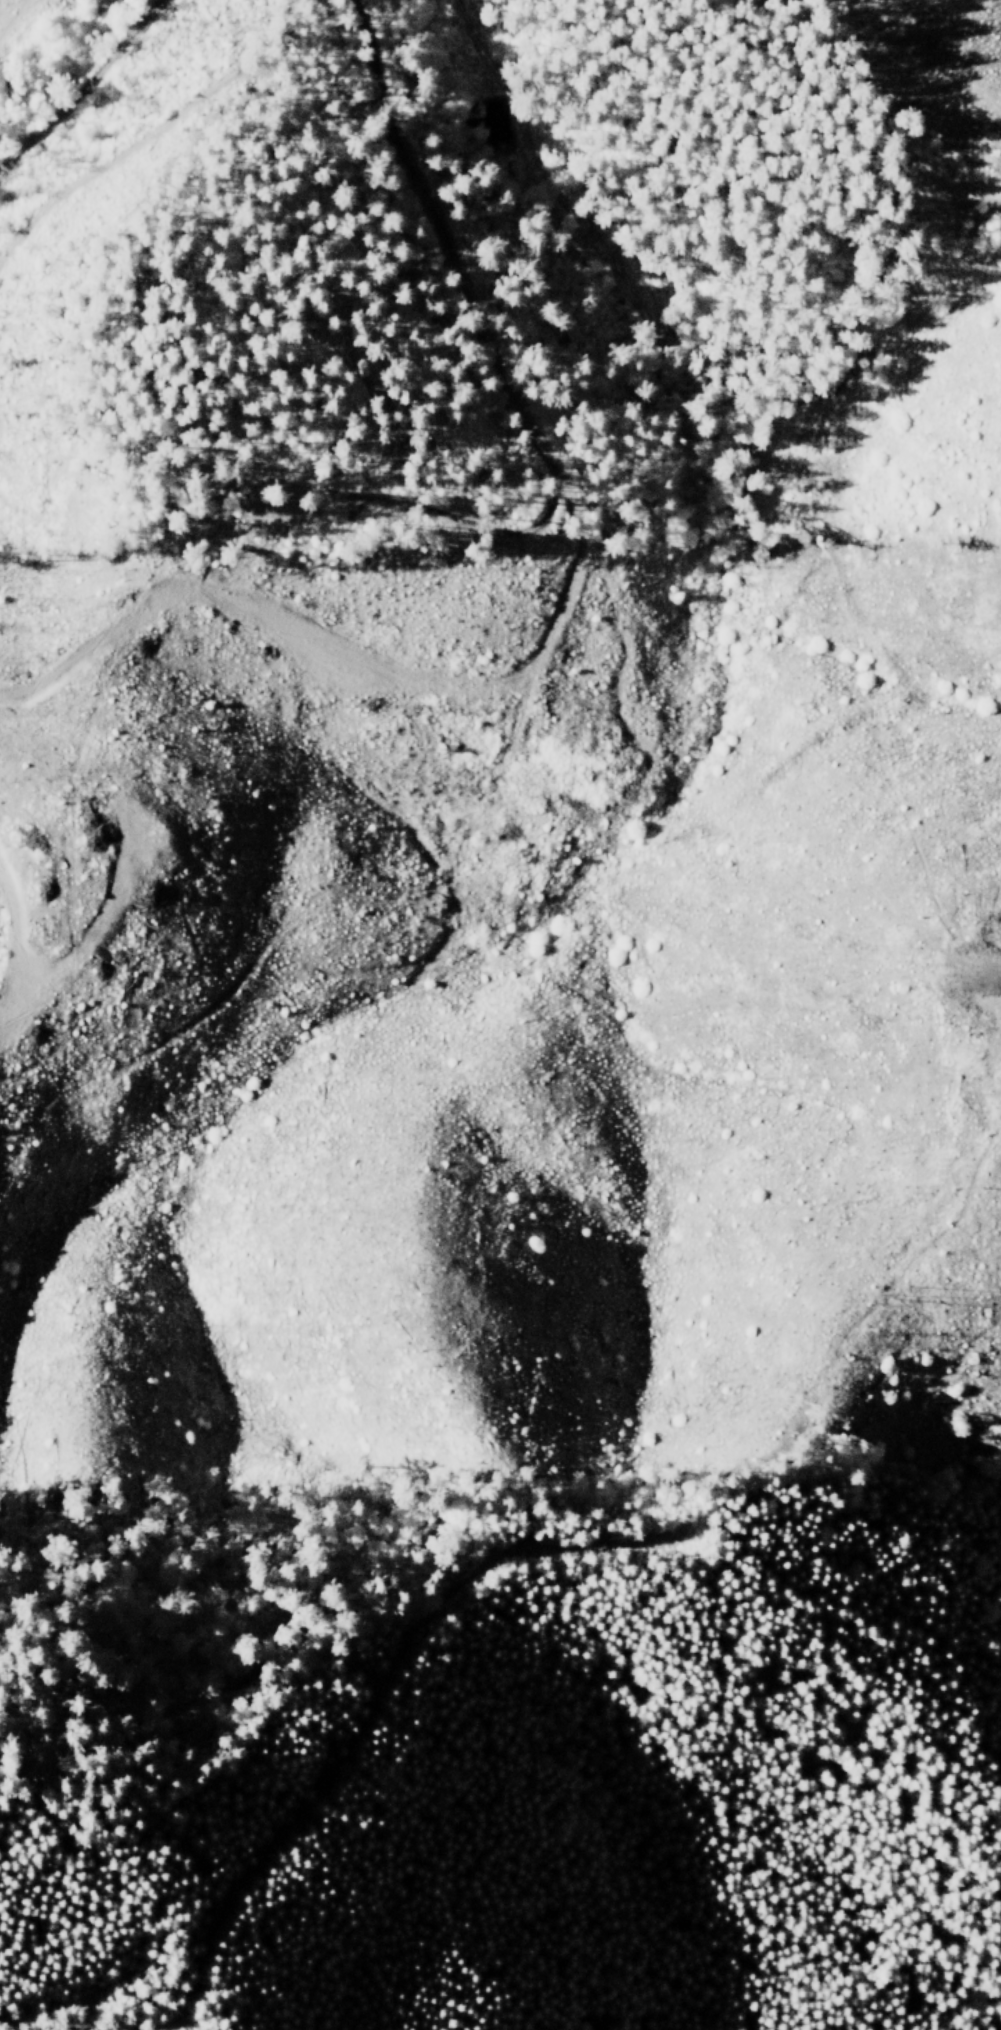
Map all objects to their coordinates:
road: (380, 1727)
road: (37, 2026)

